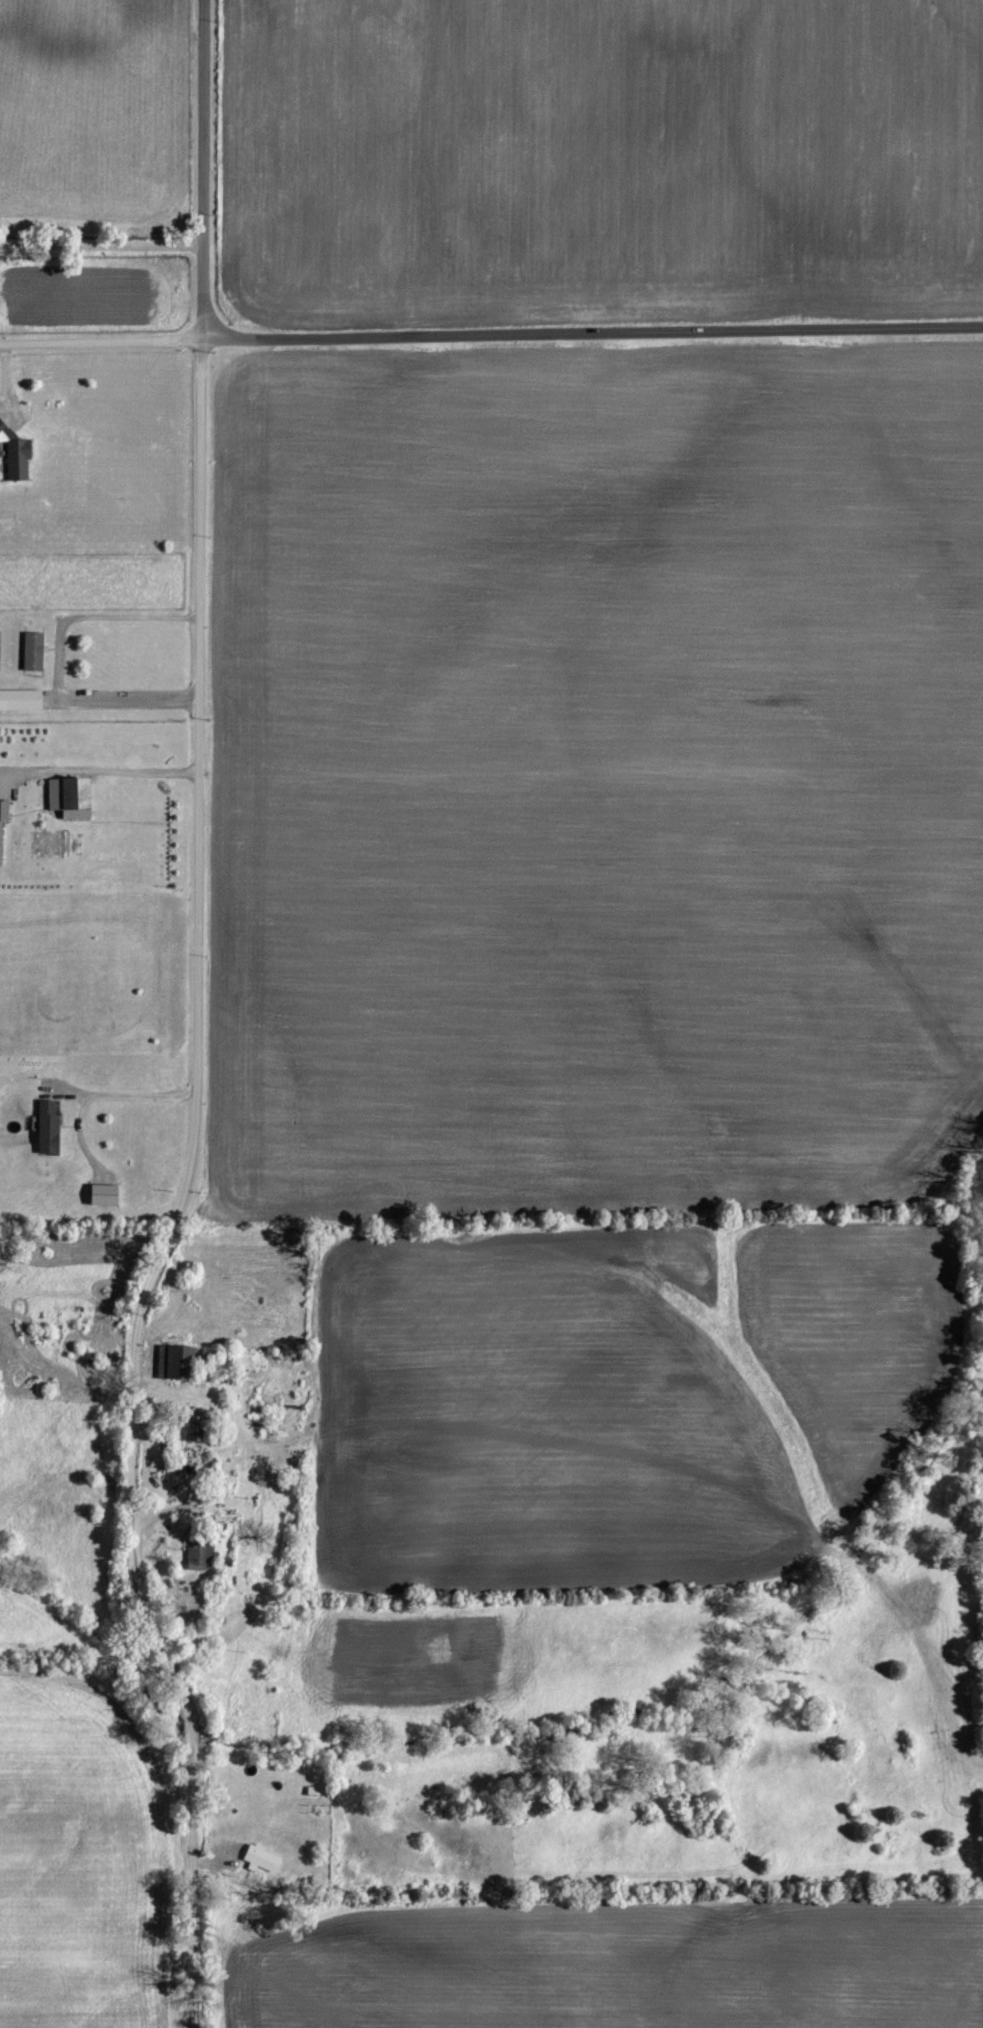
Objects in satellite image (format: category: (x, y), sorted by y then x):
road: (198, 170)
road: (99, 245)
road: (491, 336)
building: (17, 454)
building: (35, 651)
road: (60, 658)
building: (22, 700)
road: (98, 771)
building: (73, 798)
building: (3, 825)
building: (50, 1127)
road: (175, 1194)
building: (107, 1196)
building: (196, 1428)
building: (203, 1554)
building: (318, 1790)
building: (263, 1858)

